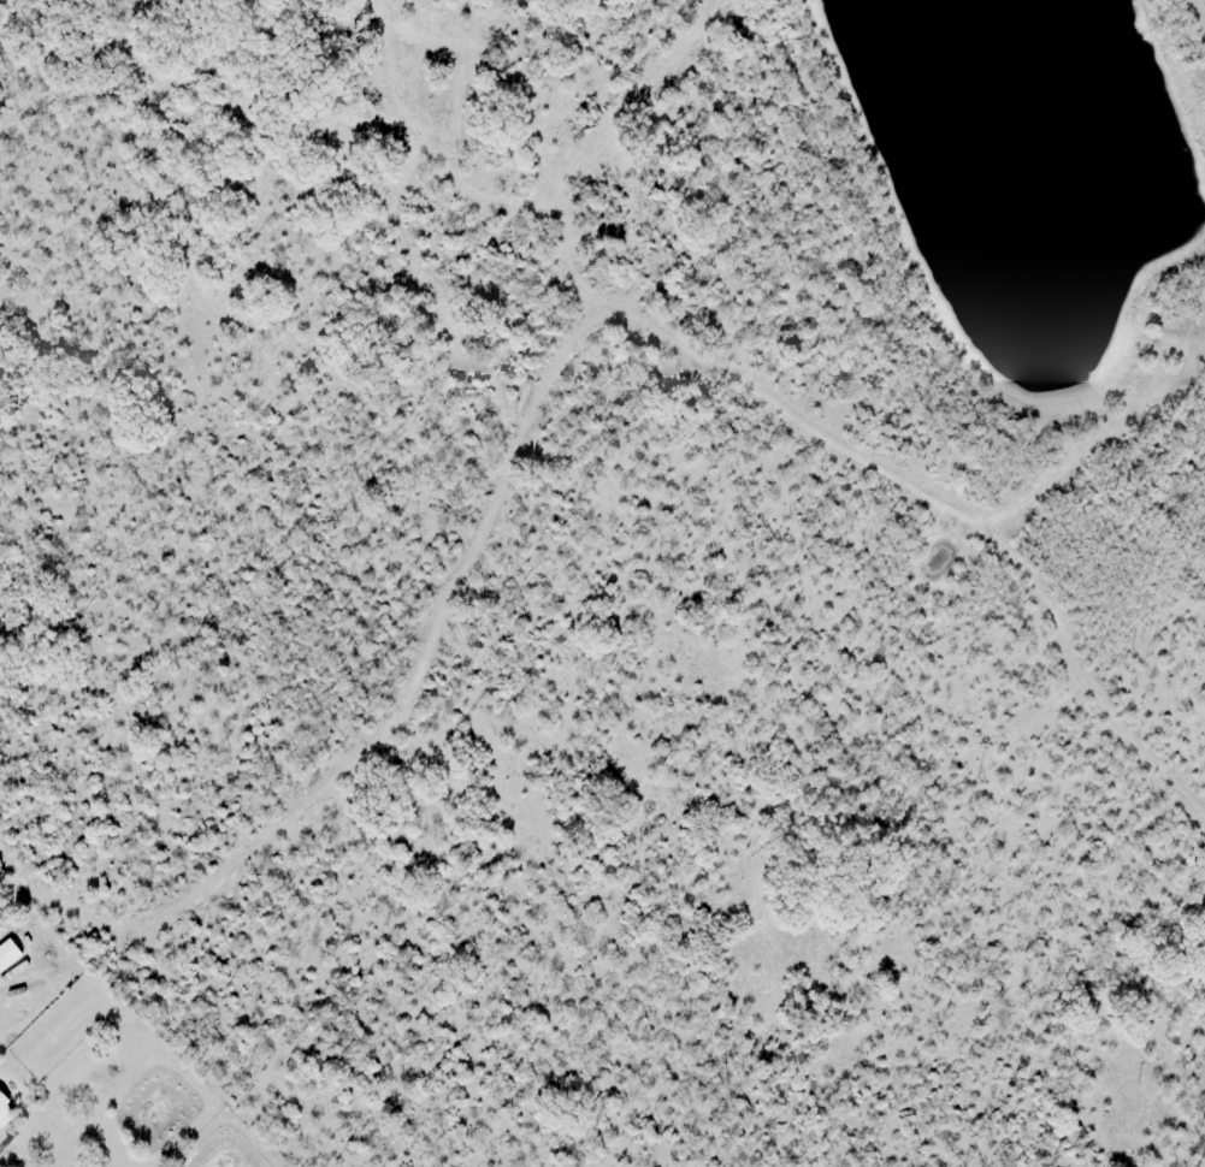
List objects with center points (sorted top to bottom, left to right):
building: (2, 1102)
building: (1, 1119)

